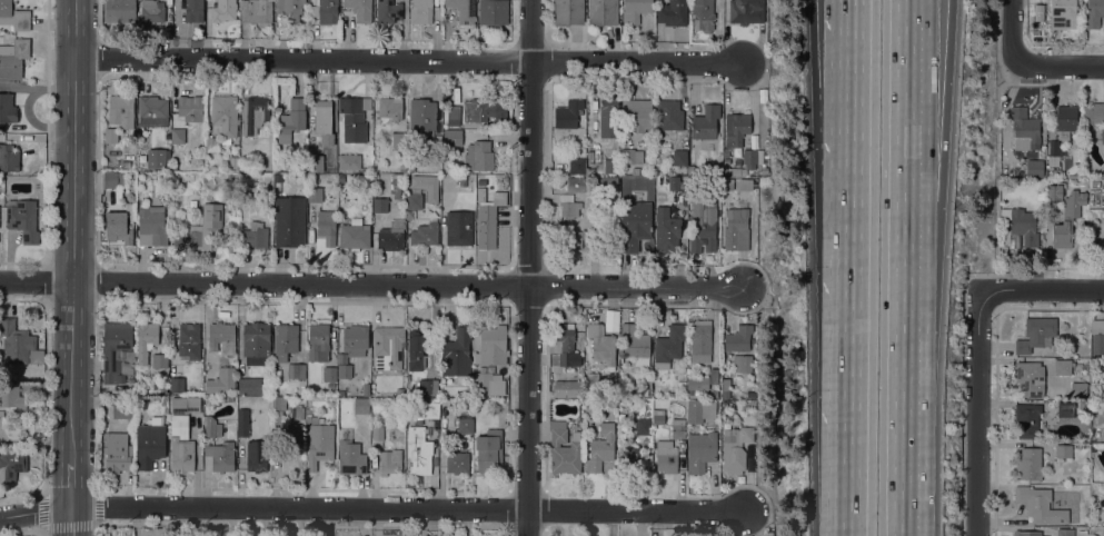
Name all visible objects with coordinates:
building: (292, 9)
building: (360, 9)
building: (120, 10)
building: (152, 10)
building: (193, 10)
building: (223, 10)
building: (464, 10)
building: (635, 10)
building: (257, 11)
building: (325, 11)
building: (388, 11)
building: (420, 11)
building: (568, 11)
building: (746, 11)
building: (494, 12)
building: (603, 12)
building: (673, 12)
building: (1040, 12)
building: (1093, 13)
building: (703, 14)
building: (1063, 14)
building: (13, 16)
building: (448, 16)
road: (1011, 30)
road: (843, 43)
road: (857, 43)
building: (13, 58)
road: (407, 61)
road: (1060, 66)
building: (763, 95)
road: (901, 100)
road: (918, 100)
building: (152, 107)
building: (190, 107)
building: (7, 109)
building: (479, 109)
building: (121, 110)
building: (389, 110)
building: (454, 112)
building: (253, 113)
building: (639, 113)
building: (1093, 113)
building: (421, 115)
building: (668, 115)
building: (352, 117)
building: (609, 117)
building: (567, 118)
building: (1065, 118)
building: (291, 119)
building: (222, 120)
building: (324, 121)
building: (705, 122)
building: (736, 128)
building: (1024, 129)
road: (857, 133)
building: (110, 135)
building: (177, 135)
building: (1102, 135)
building: (452, 137)
building: (399, 140)
building: (437, 140)
building: (754, 141)
building: (1053, 148)
building: (736, 152)
building: (726, 153)
building: (1041, 153)
building: (479, 156)
building: (630, 156)
building: (752, 157)
building: (9, 158)
building: (679, 158)
building: (233, 160)
building: (349, 161)
building: (162, 162)
building: (316, 162)
building: (125, 165)
building: (577, 166)
building: (611, 166)
building: (621, 168)
building: (1034, 168)
building: (635, 170)
building: (764, 170)
road: (995, 170)
building: (589, 171)
building: (735, 171)
building: (242, 177)
building: (277, 177)
building: (312, 177)
building: (111, 179)
building: (463, 181)
building: (608, 181)
building: (674, 182)
building: (577, 183)
building: (426, 186)
building: (753, 186)
building: (396, 187)
building: (1053, 192)
building: (315, 193)
building: (1040, 196)
building: (414, 200)
building: (379, 204)
building: (569, 206)
building: (23, 219)
building: (1067, 219)
building: (289, 220)
building: (488, 220)
building: (634, 224)
building: (1022, 224)
building: (119, 226)
building: (151, 226)
building: (326, 226)
building: (458, 227)
building: (703, 227)
building: (200, 229)
building: (666, 230)
road: (71, 231)
building: (736, 231)
building: (425, 234)
building: (255, 235)
building: (354, 235)
building: (390, 238)
building: (574, 238)
road: (527, 267)
road: (36, 280)
road: (406, 284)
road: (1043, 288)
building: (589, 314)
building: (611, 322)
building: (1036, 334)
building: (1097, 335)
building: (221, 337)
building: (738, 338)
building: (355, 339)
building: (146, 340)
building: (285, 340)
building: (700, 340)
building: (188, 341)
building: (318, 341)
building: (256, 343)
building: (18, 344)
building: (667, 344)
building: (490, 345)
building: (565, 345)
building: (601, 345)
building: (635, 345)
building: (388, 347)
building: (115, 348)
building: (417, 349)
building: (457, 353)
road: (855, 358)
building: (159, 360)
building: (742, 363)
building: (1062, 367)
road: (898, 368)
building: (296, 370)
building: (344, 370)
building: (329, 373)
building: (226, 377)
building: (1030, 378)
building: (488, 383)
building: (697, 383)
building: (176, 384)
building: (591, 384)
building: (330, 385)
building: (250, 386)
building: (431, 386)
building: (682, 386)
building: (161, 388)
building: (366, 388)
building: (567, 388)
building: (647, 388)
building: (1078, 390)
building: (399, 391)
building: (693, 391)
building: (340, 393)
building: (725, 393)
building: (747, 393)
building: (714, 394)
building: (12, 397)
building: (213, 403)
building: (278, 403)
building: (185, 405)
building: (361, 406)
building: (429, 408)
building: (1065, 408)
building: (1084, 408)
building: (121, 409)
building: (699, 409)
building: (297, 413)
road: (977, 415)
building: (277, 416)
building: (657, 416)
building: (1026, 419)
building: (242, 421)
building: (465, 425)
building: (211, 426)
building: (643, 426)
building: (677, 428)
building: (378, 433)
building: (294, 434)
building: (643, 440)
building: (319, 441)
building: (150, 443)
building: (181, 445)
building: (600, 447)
building: (683, 447)
building: (488, 448)
building: (735, 448)
building: (564, 449)
building: (418, 450)
building: (700, 450)
building: (1063, 450)
building: (117, 451)
building: (220, 455)
building: (256, 455)
building: (666, 456)
building: (350, 457)
building: (630, 458)
building: (390, 461)
building: (457, 461)
building: (11, 464)
building: (1028, 464)
road: (70, 485)
building: (1040, 505)
road: (371, 507)
road: (69, 520)
building: (1065, 532)
building: (1026, 533)
building: (1082, 533)

